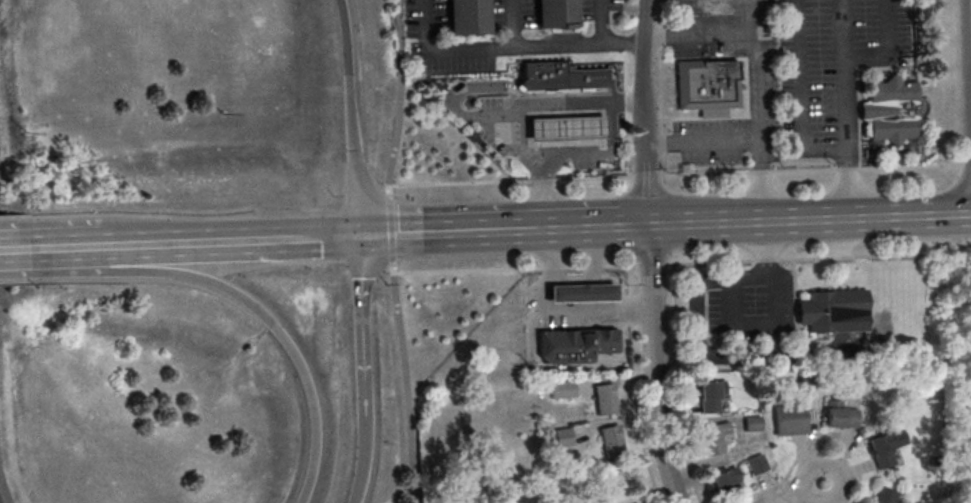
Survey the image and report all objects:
road: (970, 12)
building: (555, 13)
building: (468, 16)
road: (600, 22)
road: (514, 25)
road: (842, 30)
road: (699, 38)
road: (511, 51)
road: (891, 52)
building: (545, 77)
building: (707, 88)
road: (399, 98)
road: (454, 98)
road: (800, 98)
road: (758, 110)
road: (642, 111)
building: (890, 112)
road: (350, 117)
building: (566, 131)
gas station: (566, 131)
road: (848, 138)
road: (519, 139)
road: (701, 142)
road: (745, 173)
road: (542, 191)
road: (911, 215)
road: (845, 217)
road: (742, 220)
road: (632, 224)
road: (489, 230)
road: (389, 231)
road: (193, 242)
road: (14, 248)
road: (840, 252)
road: (911, 257)
road: (840, 260)
road: (803, 261)
road: (766, 263)
road: (710, 265)
road: (611, 268)
road: (593, 269)
road: (652, 269)
road: (574, 270)
road: (553, 271)
road: (628, 271)
road: (466, 272)
road: (572, 281)
road: (574, 284)
road: (574, 296)
building: (581, 296)
road: (244, 300)
road: (360, 300)
road: (850, 301)
building: (827, 306)
road: (611, 309)
road: (539, 310)
road: (765, 327)
road: (697, 345)
building: (574, 348)
road: (656, 364)
road: (361, 374)
road: (405, 384)
road: (678, 386)
road: (635, 388)
building: (559, 389)
building: (708, 396)
building: (604, 400)
building: (839, 415)
building: (789, 419)
building: (751, 423)
building: (561, 437)
building: (712, 438)
building: (611, 440)
road: (361, 443)
building: (883, 447)
road: (813, 451)
building: (756, 465)
building: (721, 482)
road: (807, 493)
building: (882, 495)
building: (638, 502)

